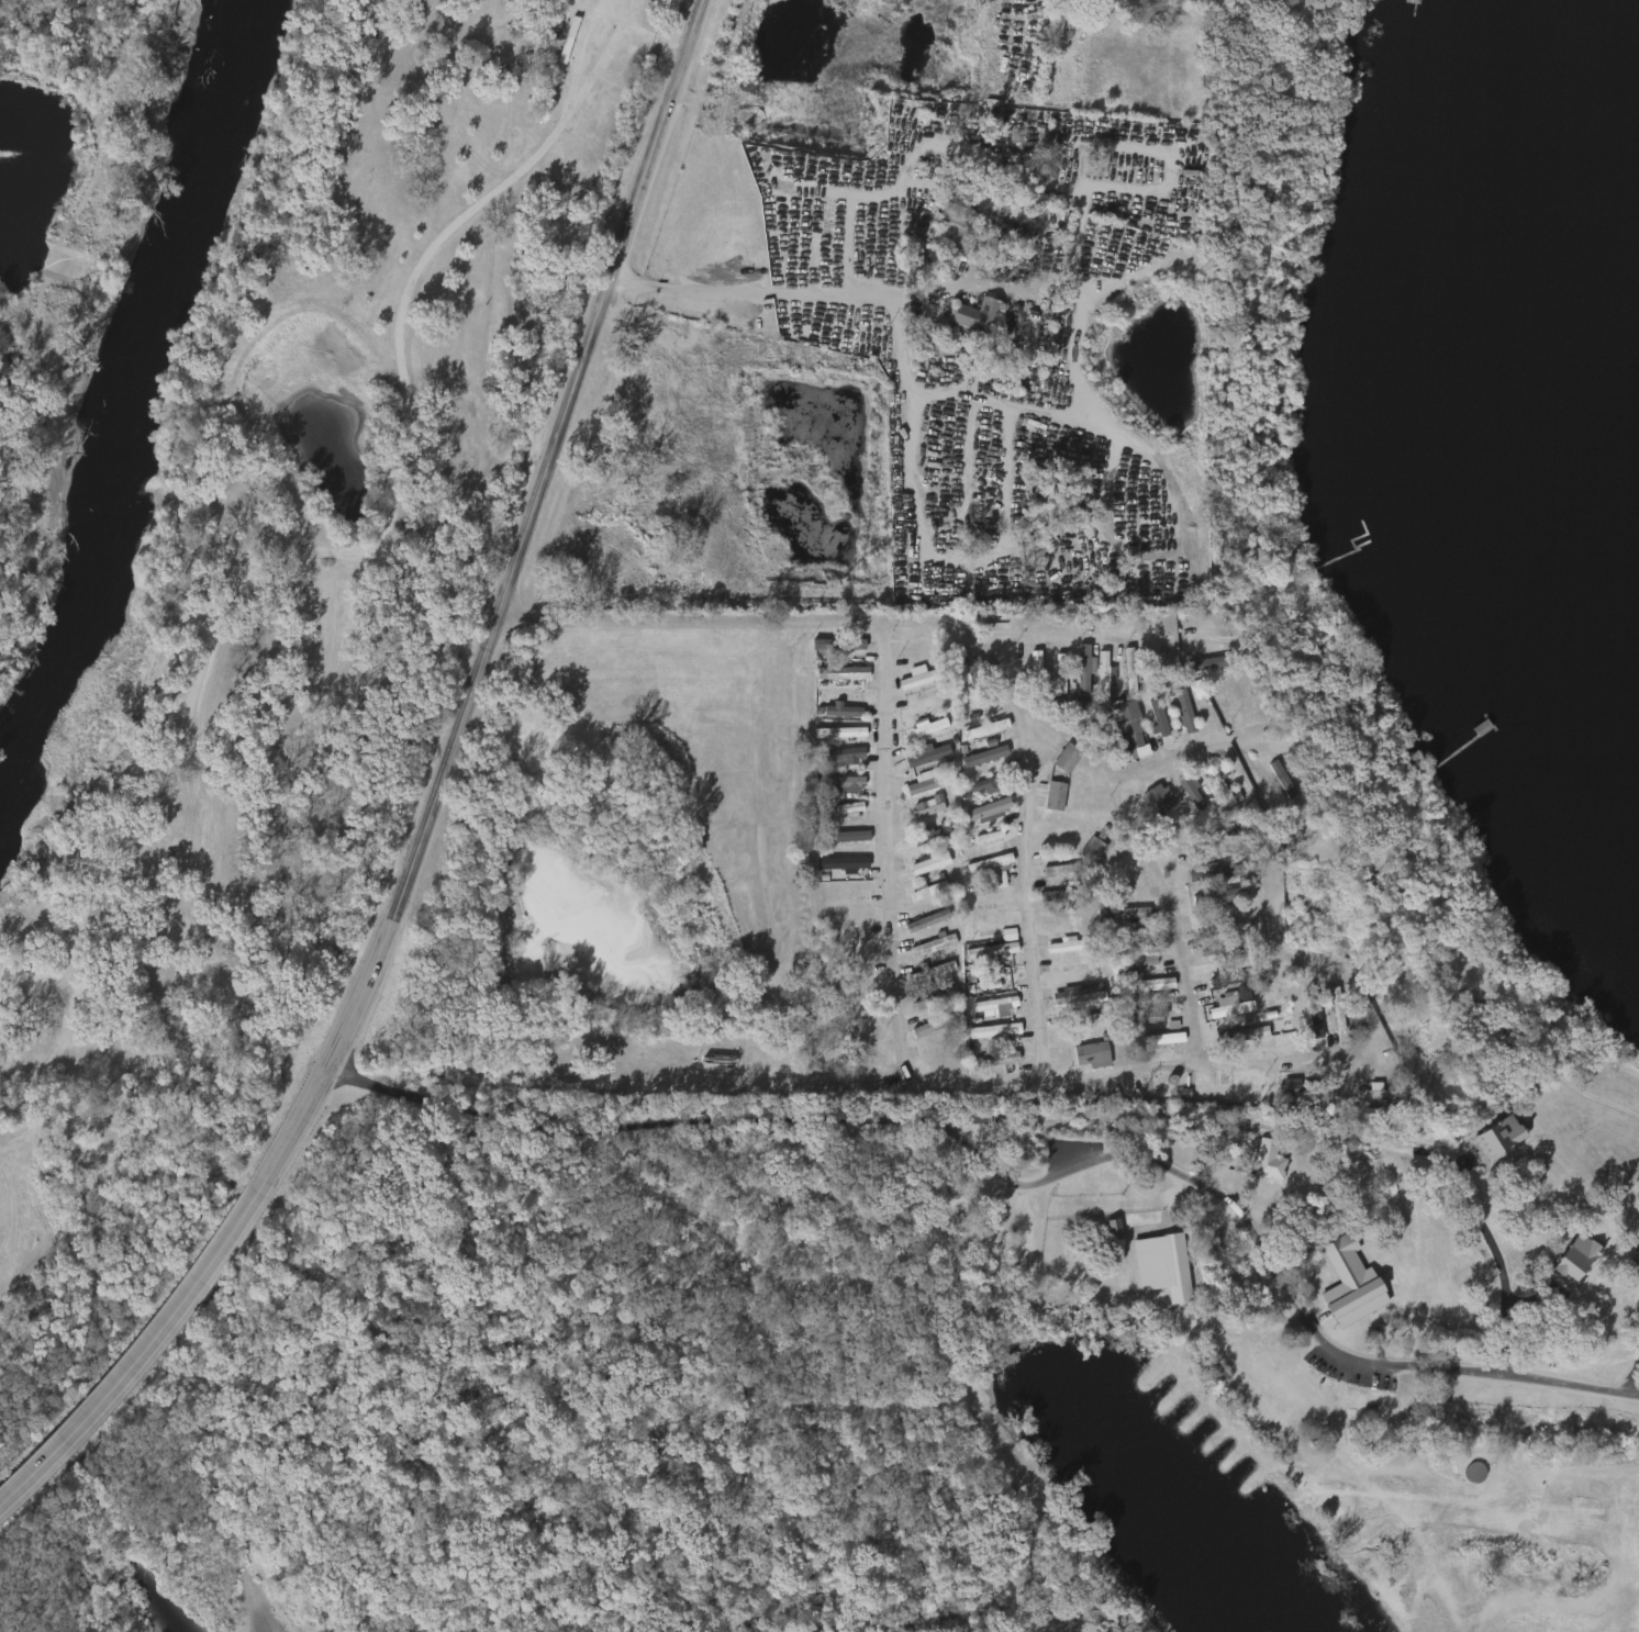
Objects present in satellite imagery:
road: (640, 35)
road: (961, 68)
building: (989, 157)
building: (957, 230)
road: (755, 294)
building: (980, 316)
river: (150, 399)
road: (1051, 638)
building: (1202, 640)
road: (963, 641)
building: (840, 645)
building: (815, 647)
building: (915, 661)
building: (1200, 666)
building: (1133, 670)
building: (1028, 671)
building: (1085, 671)
building: (1122, 671)
building: (973, 672)
building: (1074, 672)
building: (844, 673)
building: (1107, 673)
building: (1097, 677)
building: (975, 706)
building: (960, 707)
building: (1218, 708)
building: (1186, 709)
building: (846, 712)
building: (1177, 713)
building: (1151, 720)
building: (1131, 725)
building: (932, 727)
building: (988, 729)
building: (847, 734)
building: (846, 754)
building: (928, 756)
building: (977, 758)
building: (1069, 758)
building: (1059, 760)
building: (1275, 779)
building: (929, 781)
building: (844, 783)
road: (1128, 783)
building: (1256, 783)
building: (1212, 785)
building: (975, 790)
building: (1184, 791)
building: (1057, 796)
road: (433, 797)
building: (1047, 797)
building: (1159, 797)
building: (921, 808)
building: (845, 809)
building: (991, 811)
building: (847, 837)
building: (921, 837)
building: (1094, 850)
road: (1149, 859)
building: (991, 863)
building: (834, 864)
building: (922, 865)
building: (1061, 871)
building: (1216, 873)
building: (930, 888)
building: (1064, 895)
building: (1126, 914)
building: (921, 921)
building: (1316, 928)
building: (1011, 935)
building: (1073, 944)
building: (935, 946)
building: (1376, 949)
building: (994, 951)
building: (1323, 954)
building: (1142, 962)
building: (1389, 973)
building: (933, 974)
building: (1230, 980)
building: (1142, 986)
building: (1405, 992)
building: (1086, 997)
building: (928, 998)
road: (1188, 1004)
building: (1233, 1005)
building: (997, 1007)
building: (1339, 1009)
building: (1327, 1010)
building: (1316, 1011)
building: (1413, 1013)
building: (1090, 1019)
building: (1307, 1021)
building: (937, 1025)
building: (997, 1031)
building: (1250, 1035)
building: (1094, 1055)
building: (941, 1057)
building: (999, 1060)
building: (1447, 1082)
building: (1286, 1087)
road: (756, 1089)
road: (1001, 1092)
building: (1383, 1096)
road: (990, 1120)
road: (1111, 1153)
road: (1224, 1154)
building: (1260, 1162)
building: (1473, 1193)
road: (1413, 1198)
building: (1105, 1230)
road: (1597, 1239)
building: (1518, 1260)
building: (1637, 1265)
building: (1168, 1270)
building: (1342, 1285)
building: (1584, 1285)
road: (1262, 1345)

